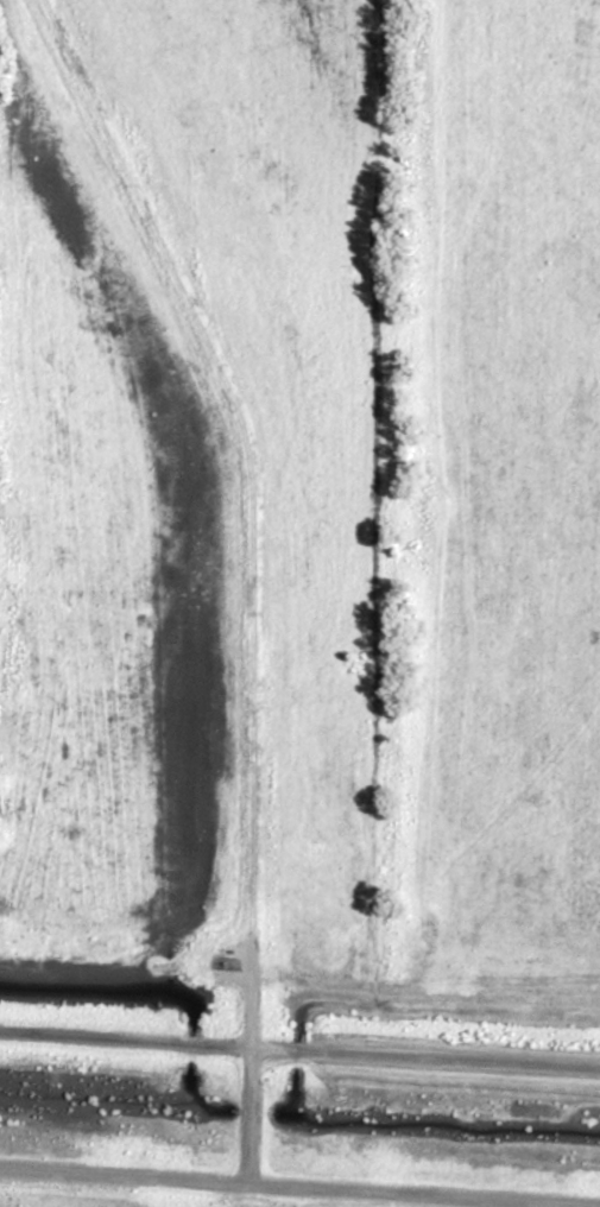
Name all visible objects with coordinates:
road: (246, 444)
road: (126, 1042)
road: (253, 1059)
road: (427, 1060)
road: (299, 1187)

